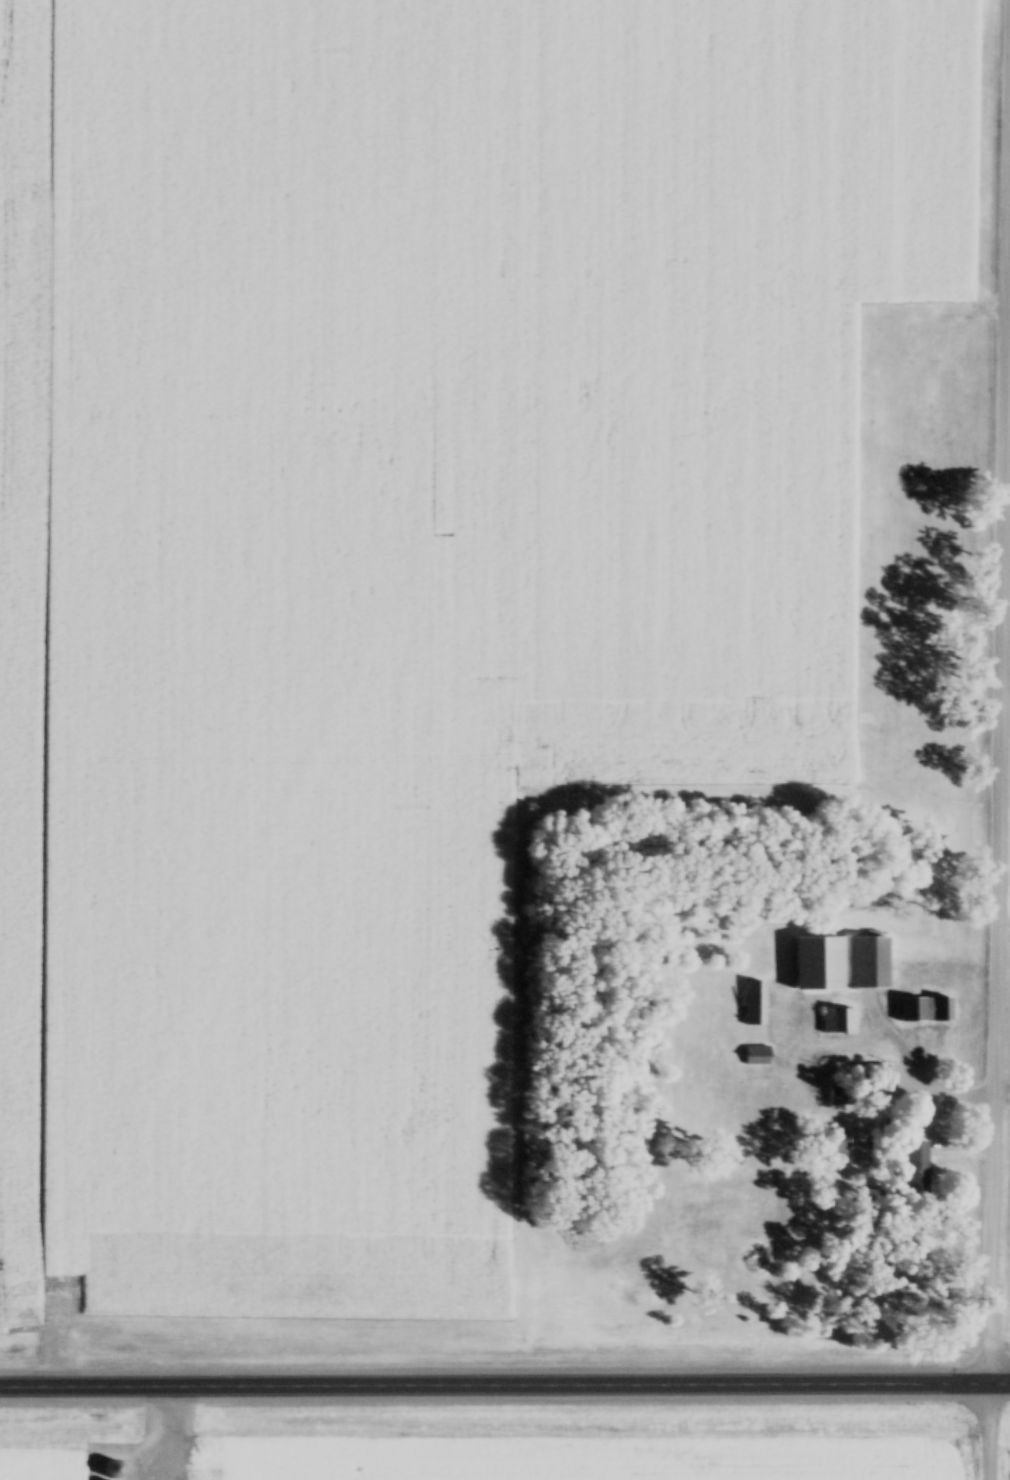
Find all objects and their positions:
road: (1000, 780)
building: (870, 964)
building: (752, 1005)
building: (923, 1011)
building: (834, 1023)
road: (920, 1064)
building: (842, 1098)
building: (784, 1186)
building: (803, 1245)
road: (504, 1385)
building: (113, 1471)

